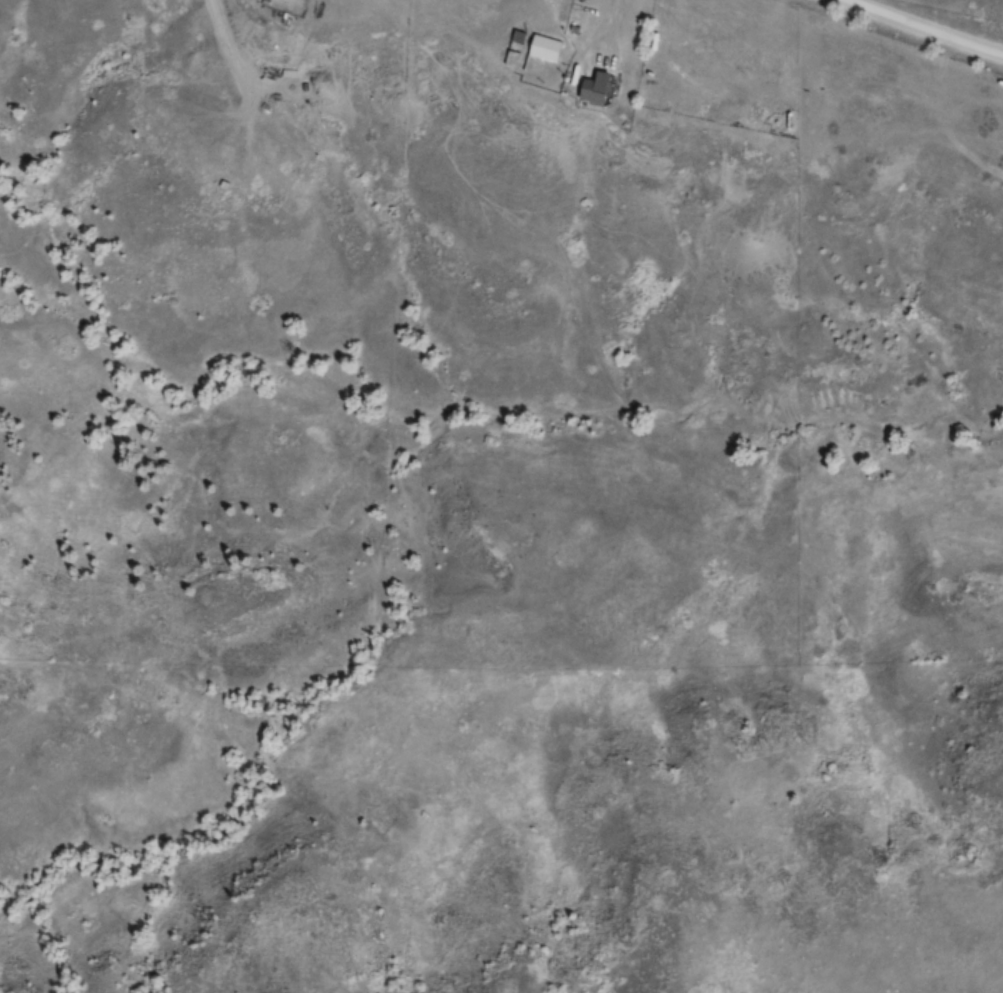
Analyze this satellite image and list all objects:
road: (927, 26)
building: (545, 48)
building: (594, 85)

